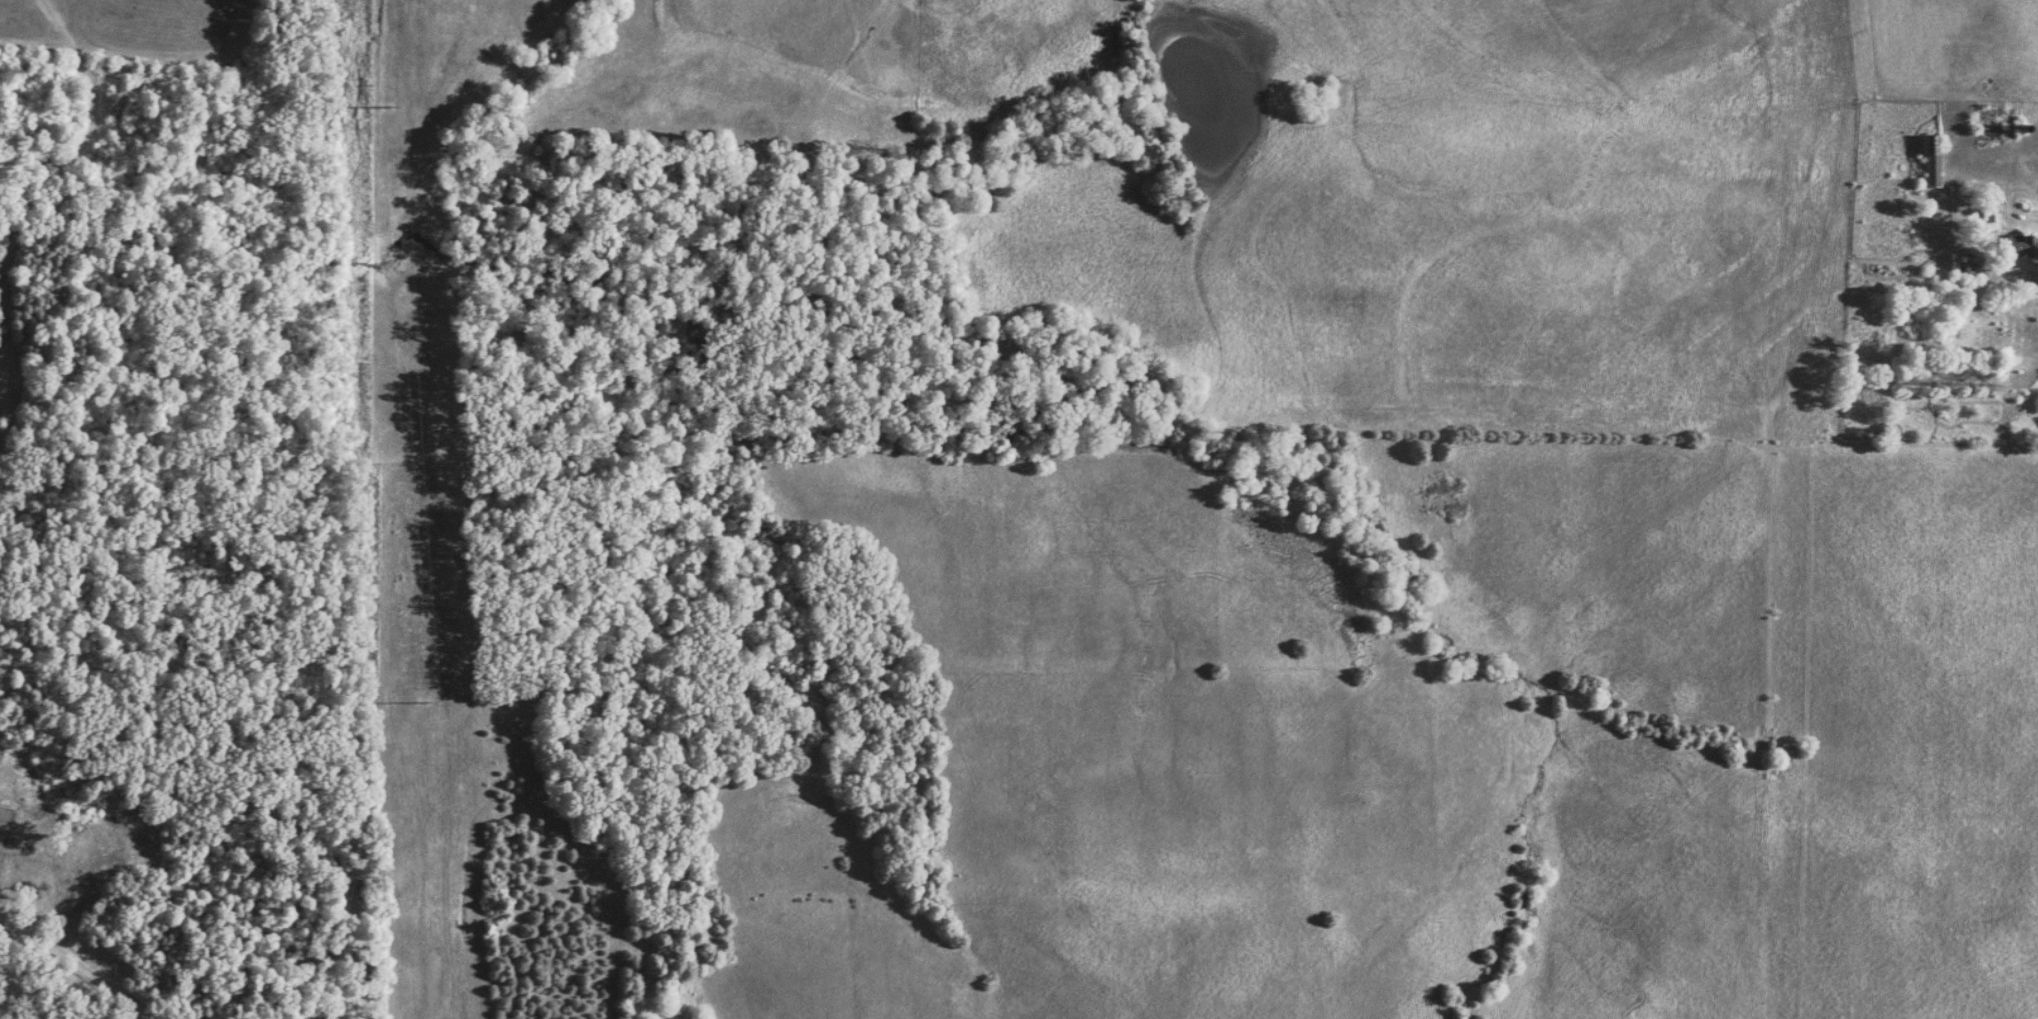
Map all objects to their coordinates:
building: (1931, 158)
road: (1996, 178)
building: (1991, 221)
building: (2015, 245)
road: (77, 964)

